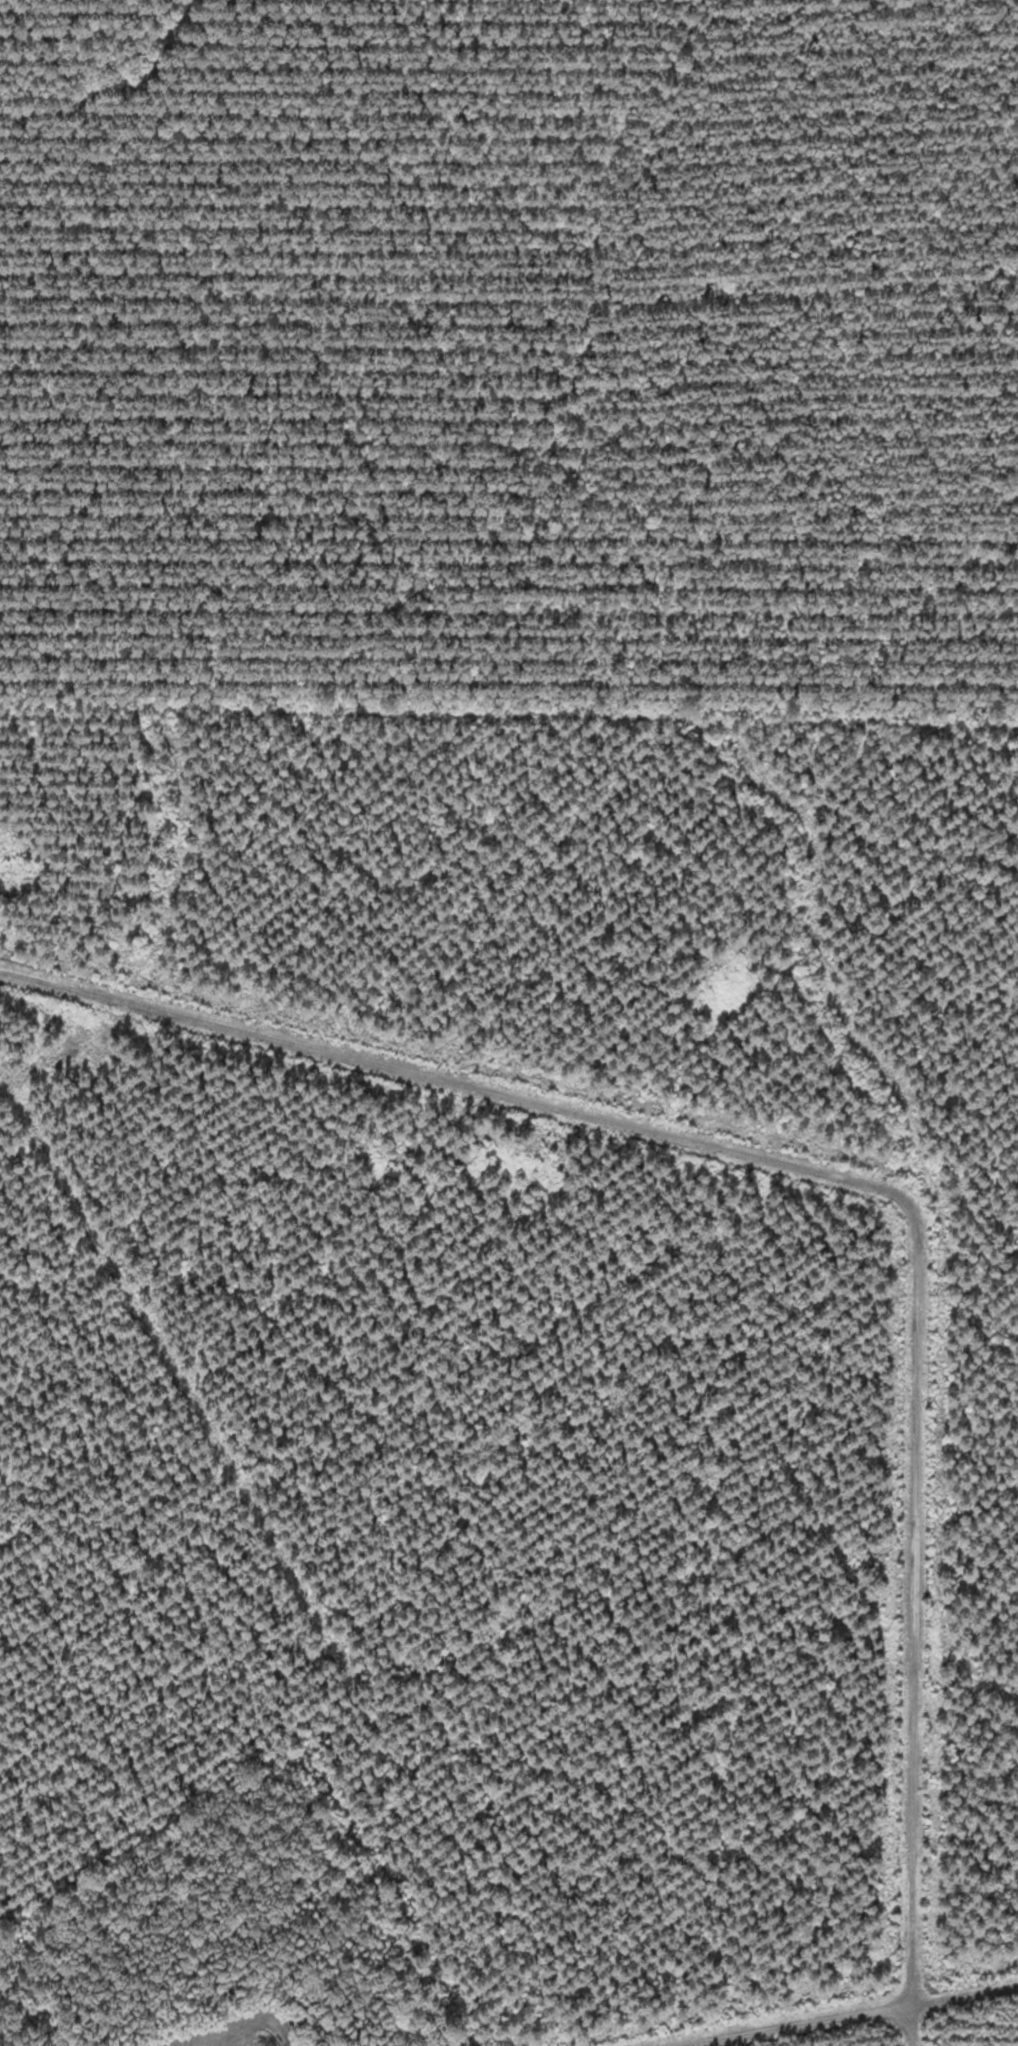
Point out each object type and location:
road: (864, 1184)
road: (782, 2023)

